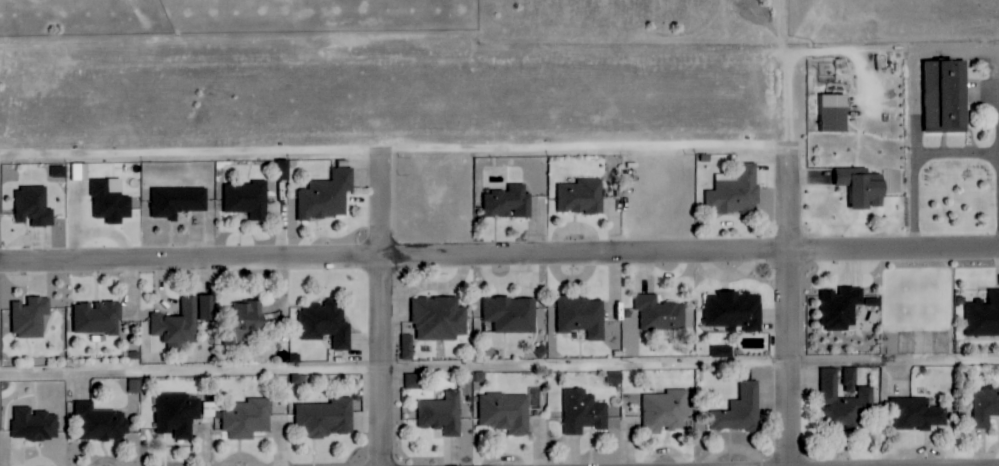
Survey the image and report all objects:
building: (946, 97)
building: (835, 112)
road: (596, 150)
road: (195, 153)
road: (915, 162)
building: (81, 171)
building: (864, 188)
building: (736, 191)
building: (327, 196)
building: (582, 196)
building: (248, 199)
building: (507, 200)
building: (178, 201)
building: (111, 202)
road: (390, 203)
building: (34, 206)
road: (499, 255)
building: (208, 307)
road: (797, 307)
building: (841, 308)
building: (736, 310)
building: (661, 313)
building: (512, 314)
building: (583, 316)
building: (983, 316)
building: (31, 317)
building: (246, 317)
building: (98, 318)
building: (439, 318)
building: (326, 323)
building: (179, 325)
building: (721, 352)
road: (390, 362)
road: (499, 368)
building: (851, 379)
building: (414, 381)
building: (845, 403)
building: (985, 407)
building: (666, 410)
building: (740, 411)
building: (506, 412)
building: (583, 412)
building: (917, 413)
building: (178, 414)
building: (442, 414)
building: (248, 418)
building: (326, 418)
building: (35, 424)
building: (99, 424)

